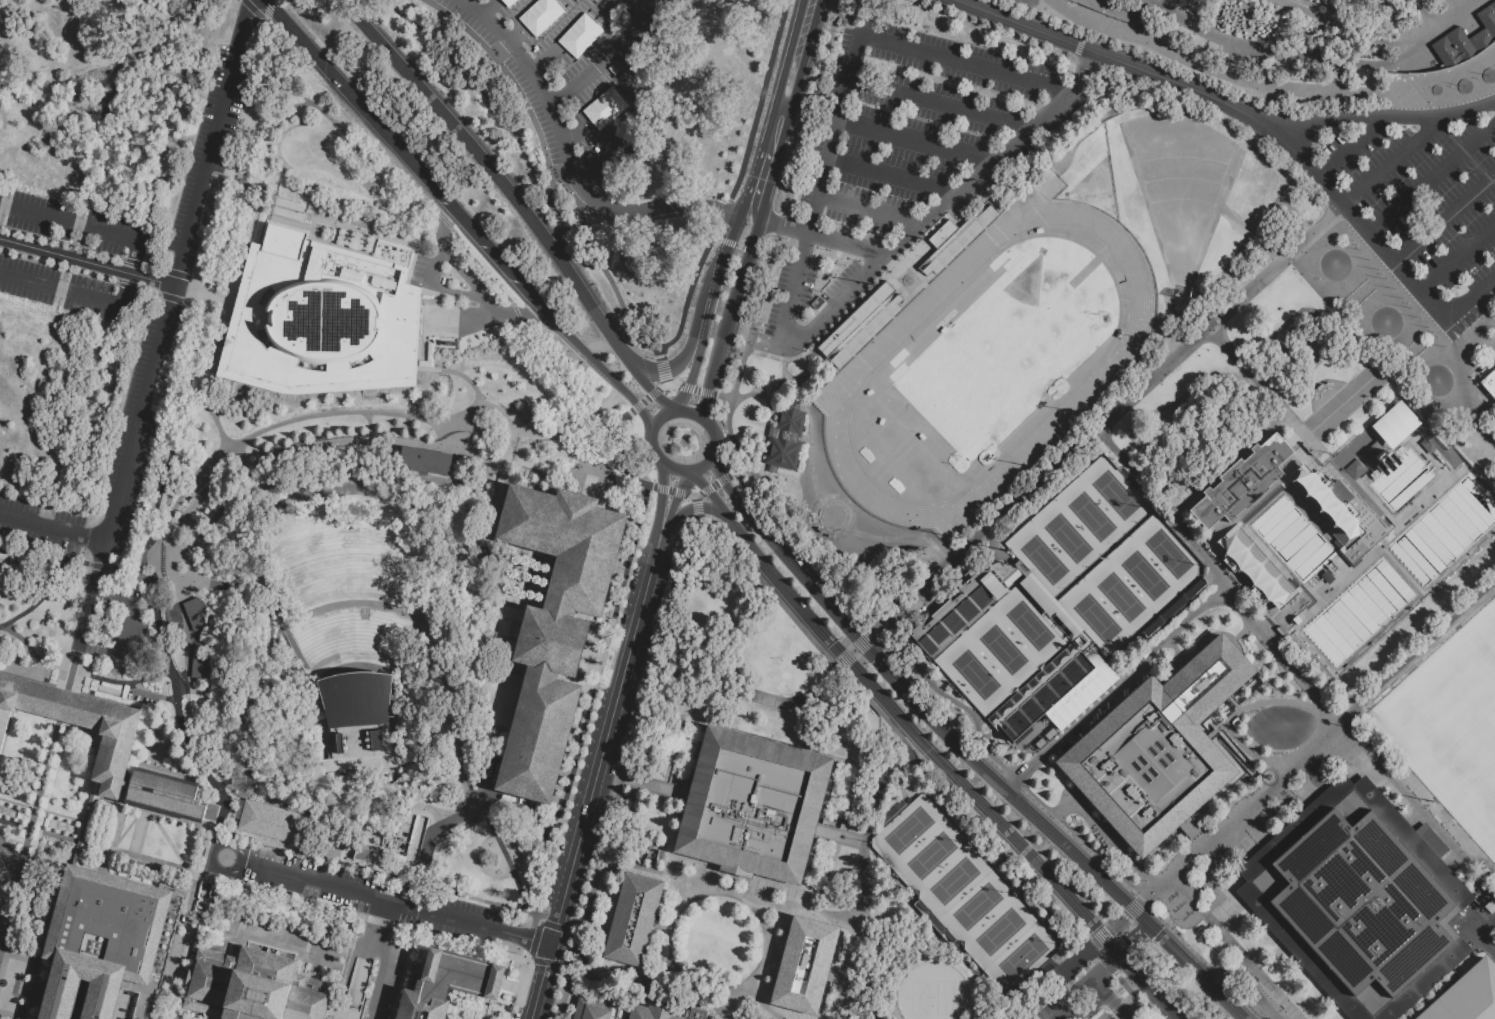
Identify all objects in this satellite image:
road: (458, 1)
road: (254, 10)
road: (267, 10)
road: (492, 11)
road: (805, 20)
road: (532, 25)
road: (1087, 26)
road: (998, 32)
building: (1304, 37)
road: (569, 38)
building: (1466, 44)
road: (1078, 47)
road: (945, 57)
road: (1109, 57)
road: (606, 58)
road: (1210, 64)
road: (791, 74)
road: (468, 75)
parking lot: (585, 78)
road: (1367, 82)
road: (521, 98)
road: (617, 98)
road: (843, 100)
road: (939, 104)
road: (809, 114)
park: (591, 116)
road: (1377, 121)
road: (776, 131)
parking lot: (226, 138)
road: (832, 141)
road: (914, 142)
parking lot: (196, 147)
road: (1351, 149)
road: (569, 157)
parking lot: (899, 160)
road: (601, 161)
road: (1392, 162)
road: (492, 168)
road: (760, 175)
road: (890, 178)
road: (737, 181)
road: (1433, 181)
park: (1176, 194)
road: (783, 200)
parking lot: (1418, 207)
road: (751, 208)
road: (868, 211)
street lamp: (300, 212)
road: (456, 215)
road: (1355, 218)
road: (1445, 219)
parking lot: (73, 223)
road: (716, 237)
road: (820, 237)
building: (954, 237)
road: (466, 238)
road: (728, 242)
road: (727, 244)
road: (741, 247)
road: (752, 251)
road: (764, 254)
road: (1458, 258)
road: (88, 259)
road: (595, 259)
track: (1113, 262)
road: (875, 264)
road: (131, 266)
track: (1119, 278)
road: (479, 287)
road: (737, 288)
parking lot: (64, 290)
track: (1123, 292)
road: (1367, 294)
road: (1471, 300)
road: (706, 305)
building: (817, 308)
building: (321, 319)
road: (167, 322)
building: (860, 324)
road: (700, 335)
street lamp: (459, 339)
road: (1474, 339)
park: (1011, 343)
road: (1392, 350)
road: (659, 354)
road: (765, 355)
road: (1403, 361)
stadium: (986, 364)
track: (860, 365)
road: (674, 366)
road: (664, 370)
road: (785, 371)
road: (666, 382)
building: (1489, 382)
road: (645, 383)
road: (689, 383)
road: (672, 384)
road: (1378, 385)
road: (663, 386)
road: (685, 386)
road: (1477, 387)
road: (696, 388)
road: (708, 391)
road: (653, 392)
road: (724, 397)
road: (645, 400)
parking lot: (127, 405)
road: (637, 407)
road: (691, 413)
road: (1106, 414)
road: (627, 415)
road: (659, 415)
road: (770, 419)
building: (1394, 424)
road: (1118, 432)
building: (787, 442)
road: (652, 447)
road: (810, 448)
road: (714, 452)
building: (423, 459)
road: (737, 470)
road: (674, 471)
road: (690, 474)
building: (260, 477)
road: (722, 477)
parking lot: (134, 481)
road: (577, 482)
road: (650, 484)
road: (713, 485)
road: (660, 486)
road: (668, 489)
road: (705, 489)
road: (677, 491)
park: (1114, 494)
road: (689, 495)
road: (697, 495)
road: (835, 496)
road: (695, 498)
road: (662, 500)
road: (672, 504)
road: (696, 508)
parking lot: (42, 509)
road: (686, 510)
park: (1090, 516)
road: (697, 520)
park: (1080, 526)
road: (53, 529)
building: (1357, 536)
road: (914, 537)
park: (1066, 537)
parking lot: (39, 541)
park: (1167, 553)
park: (1042, 559)
park: (1143, 574)
park: (1133, 583)
road: (53, 587)
park: (1119, 595)
building: (1175, 609)
building: (193, 612)
park: (1095, 618)
building: (555, 624)
park: (1028, 624)
road: (127, 631)
parking lot: (123, 632)
road: (864, 638)
park: (1487, 638)
road: (603, 641)
park: (1002, 648)
road: (852, 650)
park: (1000, 650)
stadium: (1017, 654)
building: (1070, 656)
road: (1413, 656)
road: (842, 659)
building: (200, 660)
road: (911, 665)
road: (74, 670)
park: (973, 673)
road: (81, 674)
road: (737, 693)
road: (1113, 693)
building: (1078, 702)
road: (64, 708)
building: (355, 709)
road: (1242, 709)
building: (76, 725)
park: (1455, 732)
road: (897, 737)
road: (816, 750)
building: (1160, 750)
road: (929, 751)
road: (964, 751)
road: (894, 763)
road: (626, 771)
road: (595, 778)
road: (206, 781)
road: (642, 784)
building: (167, 795)
parking lot: (580, 807)
street lamp: (445, 808)
building: (755, 808)
road: (869, 815)
road: (1235, 815)
road: (151, 819)
building: (273, 820)
road: (180, 821)
road: (429, 829)
road: (30, 831)
park: (908, 831)
road: (842, 836)
road: (114, 844)
road: (11, 854)
road: (507, 855)
road: (544, 855)
building: (373, 856)
park: (931, 859)
road: (379, 869)
road: (665, 876)
park: (956, 885)
road: (264, 889)
parking lot: (348, 889)
park: (965, 893)
road: (381, 898)
building: (1361, 906)
road: (1132, 907)
road: (788, 910)
park: (976, 910)
road: (540, 916)
building: (632, 918)
road: (1116, 920)
building: (933, 922)
road: (1146, 928)
road: (576, 932)
park: (1001, 935)
road: (1100, 935)
road: (847, 937)
road: (1484, 938)
road: (534, 940)
road: (770, 940)
road: (1131, 942)
building: (107, 944)
road: (1233, 947)
road: (381, 952)
road: (672, 954)
park: (1024, 958)
road: (808, 962)
road: (1105, 963)
building: (803, 964)
road: (567, 965)
road: (1057, 975)
road: (1242, 982)
building: (443, 984)
road: (1089, 987)
building: (256, 988)
road: (520, 990)
road: (635, 990)
road: (745, 990)
park: (931, 992)
road: (1124, 993)
road: (1135, 995)
building: (1468, 996)
road: (1111, 998)
road: (1113, 1002)
road: (778, 1007)
road: (995, 1009)
building: (617, 1010)
building: (700, 1013)
road: (1100, 1013)
road: (1106, 1013)
road: (1018, 1016)
road: (1025, 1016)

